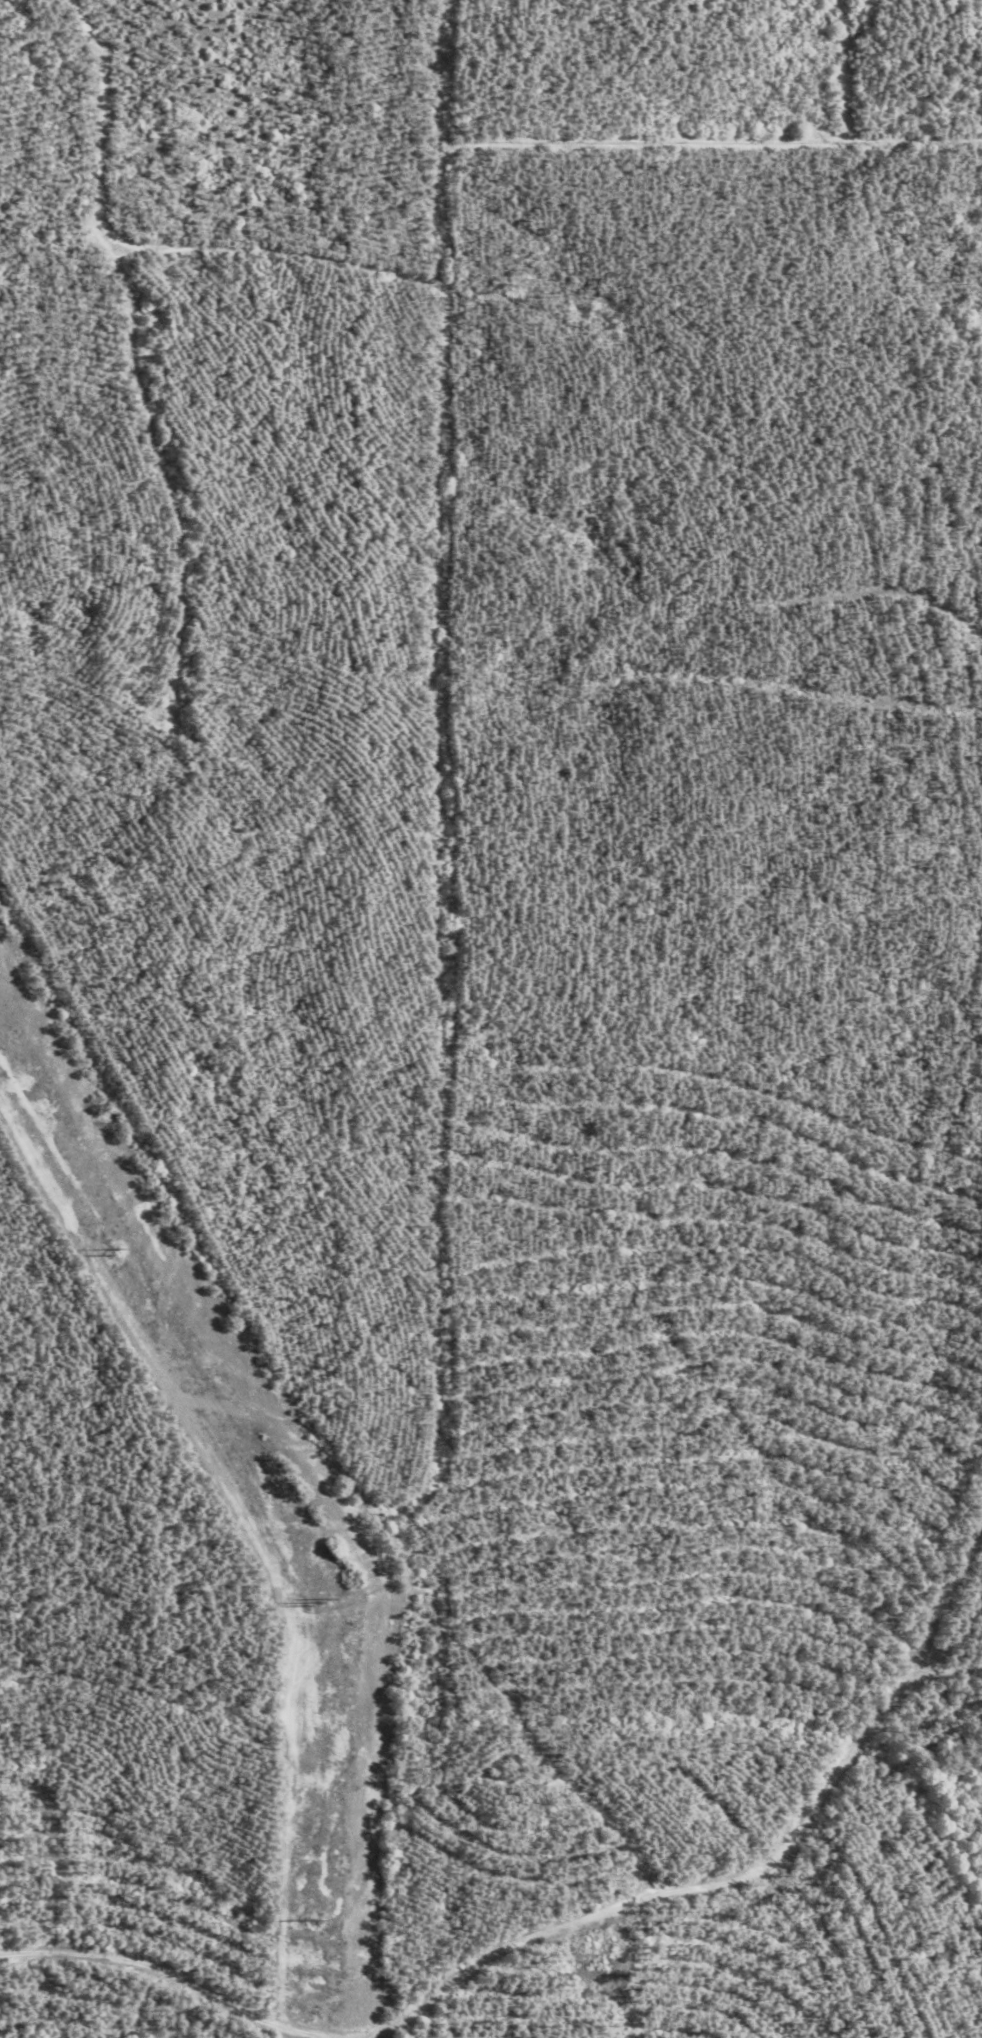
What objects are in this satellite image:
road: (108, 120)
road: (492, 290)
road: (540, 1972)

